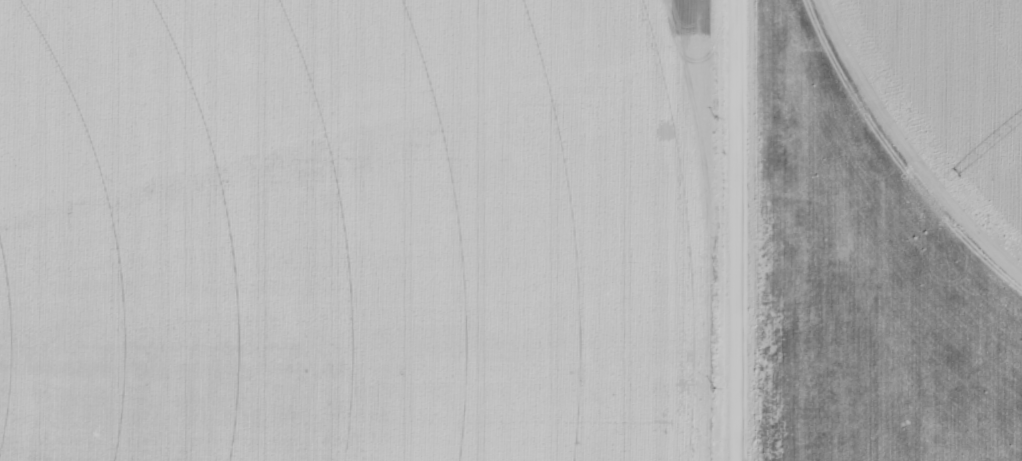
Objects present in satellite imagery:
road: (755, 230)

